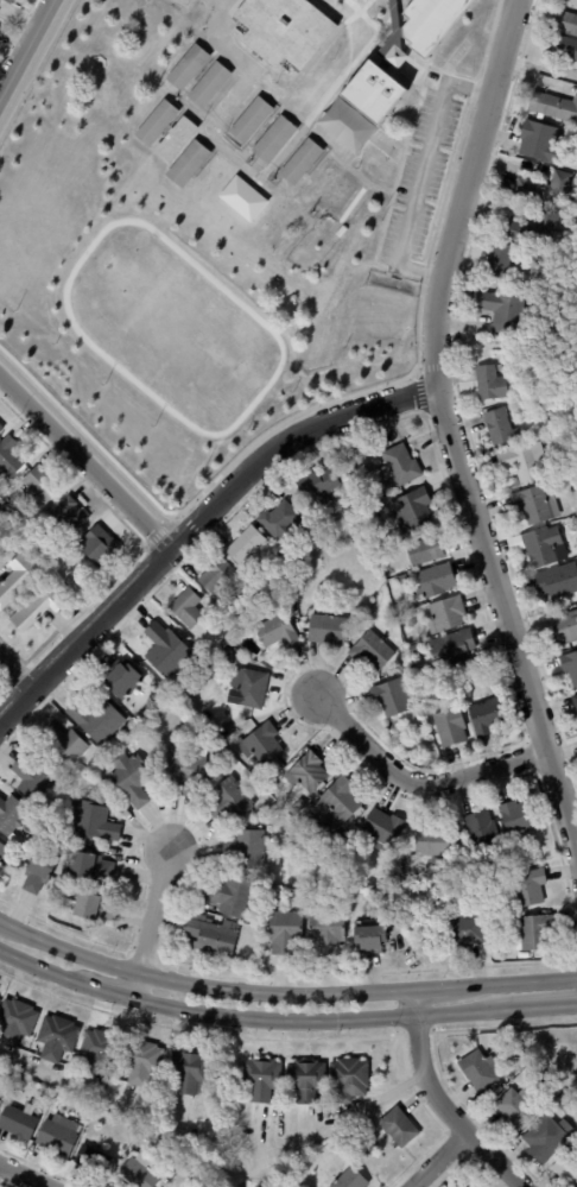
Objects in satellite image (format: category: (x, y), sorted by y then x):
building: (8, 1)
building: (353, 1)
parking lot: (177, 2)
building: (427, 23)
building: (564, 23)
building: (281, 31)
building: (560, 48)
road: (26, 50)
building: (186, 68)
road: (242, 80)
building: (209, 86)
building: (372, 95)
building: (553, 107)
building: (251, 120)
building: (156, 124)
building: (176, 139)
building: (274, 140)
building: (539, 143)
building: (300, 162)
building: (188, 164)
road: (420, 172)
building: (324, 182)
parking lot: (418, 183)
building: (544, 188)
building: (280, 227)
building: (531, 229)
building: (341, 232)
building: (499, 260)
building: (539, 299)
building: (505, 315)
building: (490, 384)
building: (518, 391)
building: (531, 406)
building: (497, 427)
building: (0, 429)
road: (446, 430)
building: (8, 457)
road: (85, 460)
building: (522, 460)
building: (400, 467)
building: (17, 475)
building: (40, 486)
building: (318, 487)
building: (535, 505)
building: (303, 507)
building: (369, 511)
building: (411, 511)
building: (68, 517)
road: (196, 522)
building: (283, 525)
building: (2, 539)
building: (245, 545)
building: (96, 548)
building: (544, 548)
building: (425, 551)
building: (218, 577)
building: (378, 577)
building: (17, 580)
building: (66, 582)
building: (435, 582)
building: (557, 582)
building: (266, 585)
building: (281, 587)
building: (290, 602)
building: (38, 607)
building: (186, 610)
building: (445, 617)
building: (277, 630)
building: (564, 630)
building: (326, 631)
building: (221, 643)
building: (451, 649)
building: (414, 650)
building: (165, 652)
building: (372, 652)
building: (228, 659)
building: (401, 668)
building: (570, 668)
road: (15, 673)
building: (407, 678)
building: (121, 680)
building: (468, 680)
building: (251, 690)
building: (157, 693)
building: (391, 699)
building: (575, 703)
building: (486, 718)
building: (96, 721)
building: (449, 728)
building: (260, 746)
building: (63, 747)
building: (183, 774)
building: (306, 775)
building: (256, 776)
building: (33, 781)
building: (131, 781)
road: (418, 783)
building: (228, 802)
building: (337, 806)
building: (297, 809)
building: (11, 816)
building: (516, 819)
building: (90, 823)
building: (382, 829)
building: (482, 832)
building: (330, 842)
building: (432, 844)
building: (245, 851)
building: (2, 852)
building: (90, 867)
building: (2, 873)
building: (37, 873)
building: (388, 879)
building: (527, 890)
building: (230, 898)
building: (94, 909)
road: (148, 924)
building: (465, 932)
building: (284, 934)
building: (325, 934)
building: (534, 934)
building: (210, 937)
building: (369, 939)
road: (39, 968)
road: (516, 981)
road: (202, 986)
road: (436, 987)
road: (104, 991)
road: (535, 1006)
road: (311, 1021)
building: (15, 1022)
building: (56, 1037)
building: (99, 1052)
building: (140, 1061)
building: (76, 1067)
building: (480, 1071)
building: (188, 1073)
building: (261, 1079)
building: (348, 1079)
building: (305, 1080)
building: (496, 1092)
road: (436, 1100)
building: (566, 1105)
building: (42, 1107)
building: (516, 1107)
building: (99, 1116)
building: (17, 1123)
building: (125, 1126)
building: (360, 1126)
building: (399, 1128)
building: (575, 1130)
building: (57, 1135)
building: (541, 1141)
building: (91, 1160)
road: (440, 1161)
building: (173, 1164)
road: (210, 1168)
building: (566, 1169)
road: (24, 1175)
building: (137, 1175)
building: (350, 1179)
building: (456, 1186)

